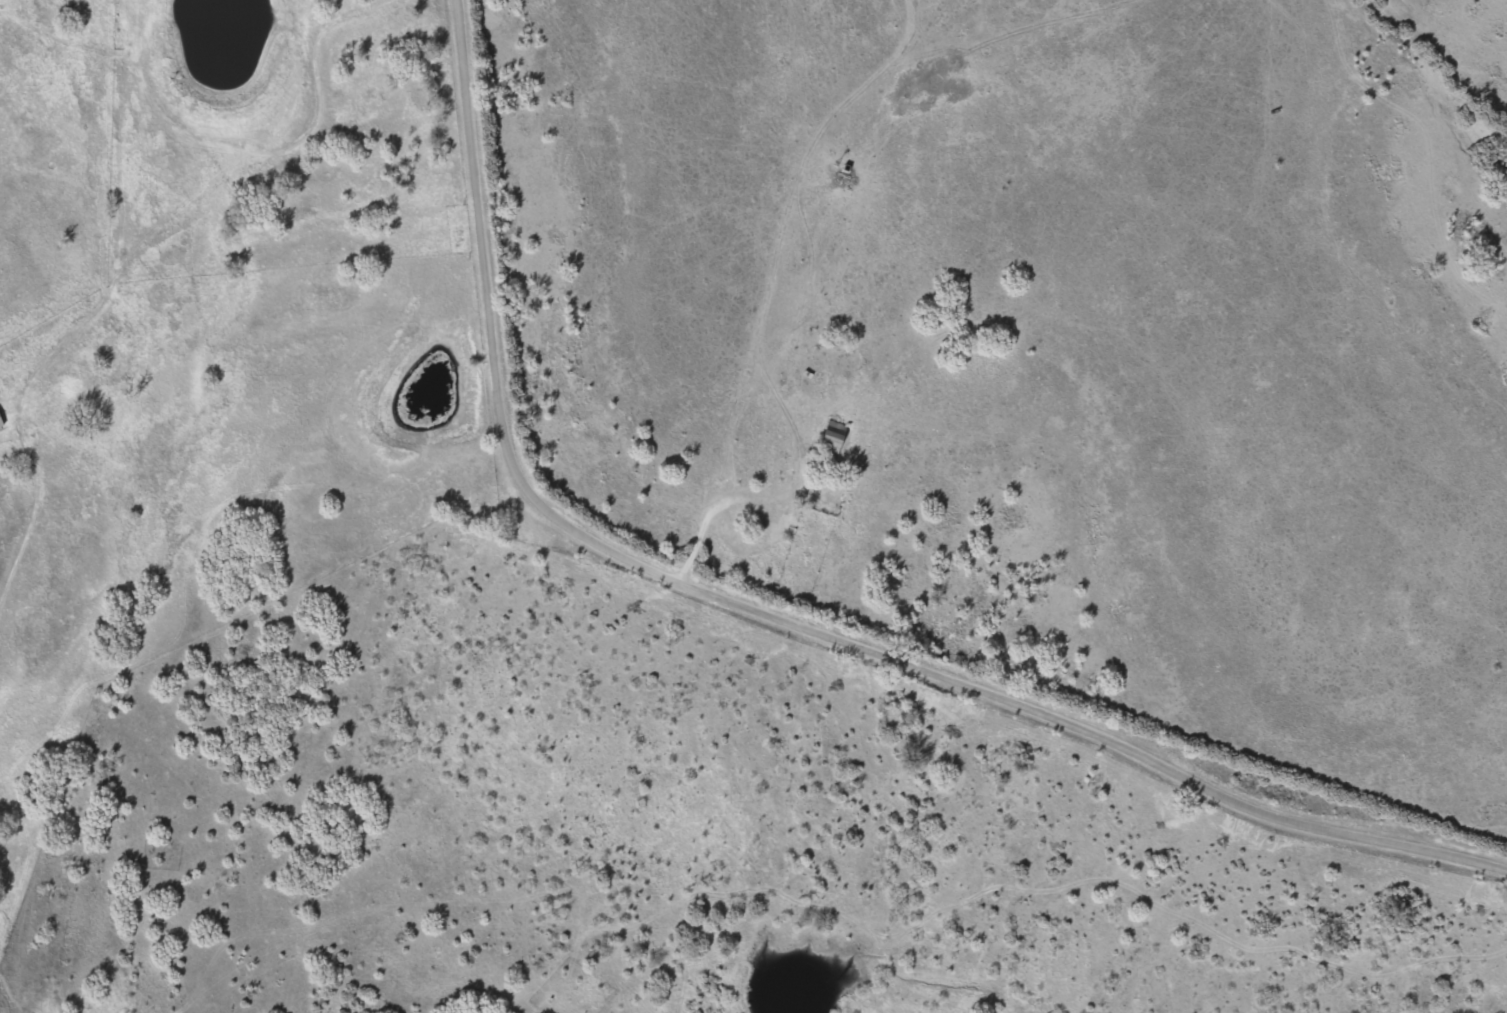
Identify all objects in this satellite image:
railway: (1457, 58)
building: (1, 420)
building: (834, 439)
road: (771, 619)

